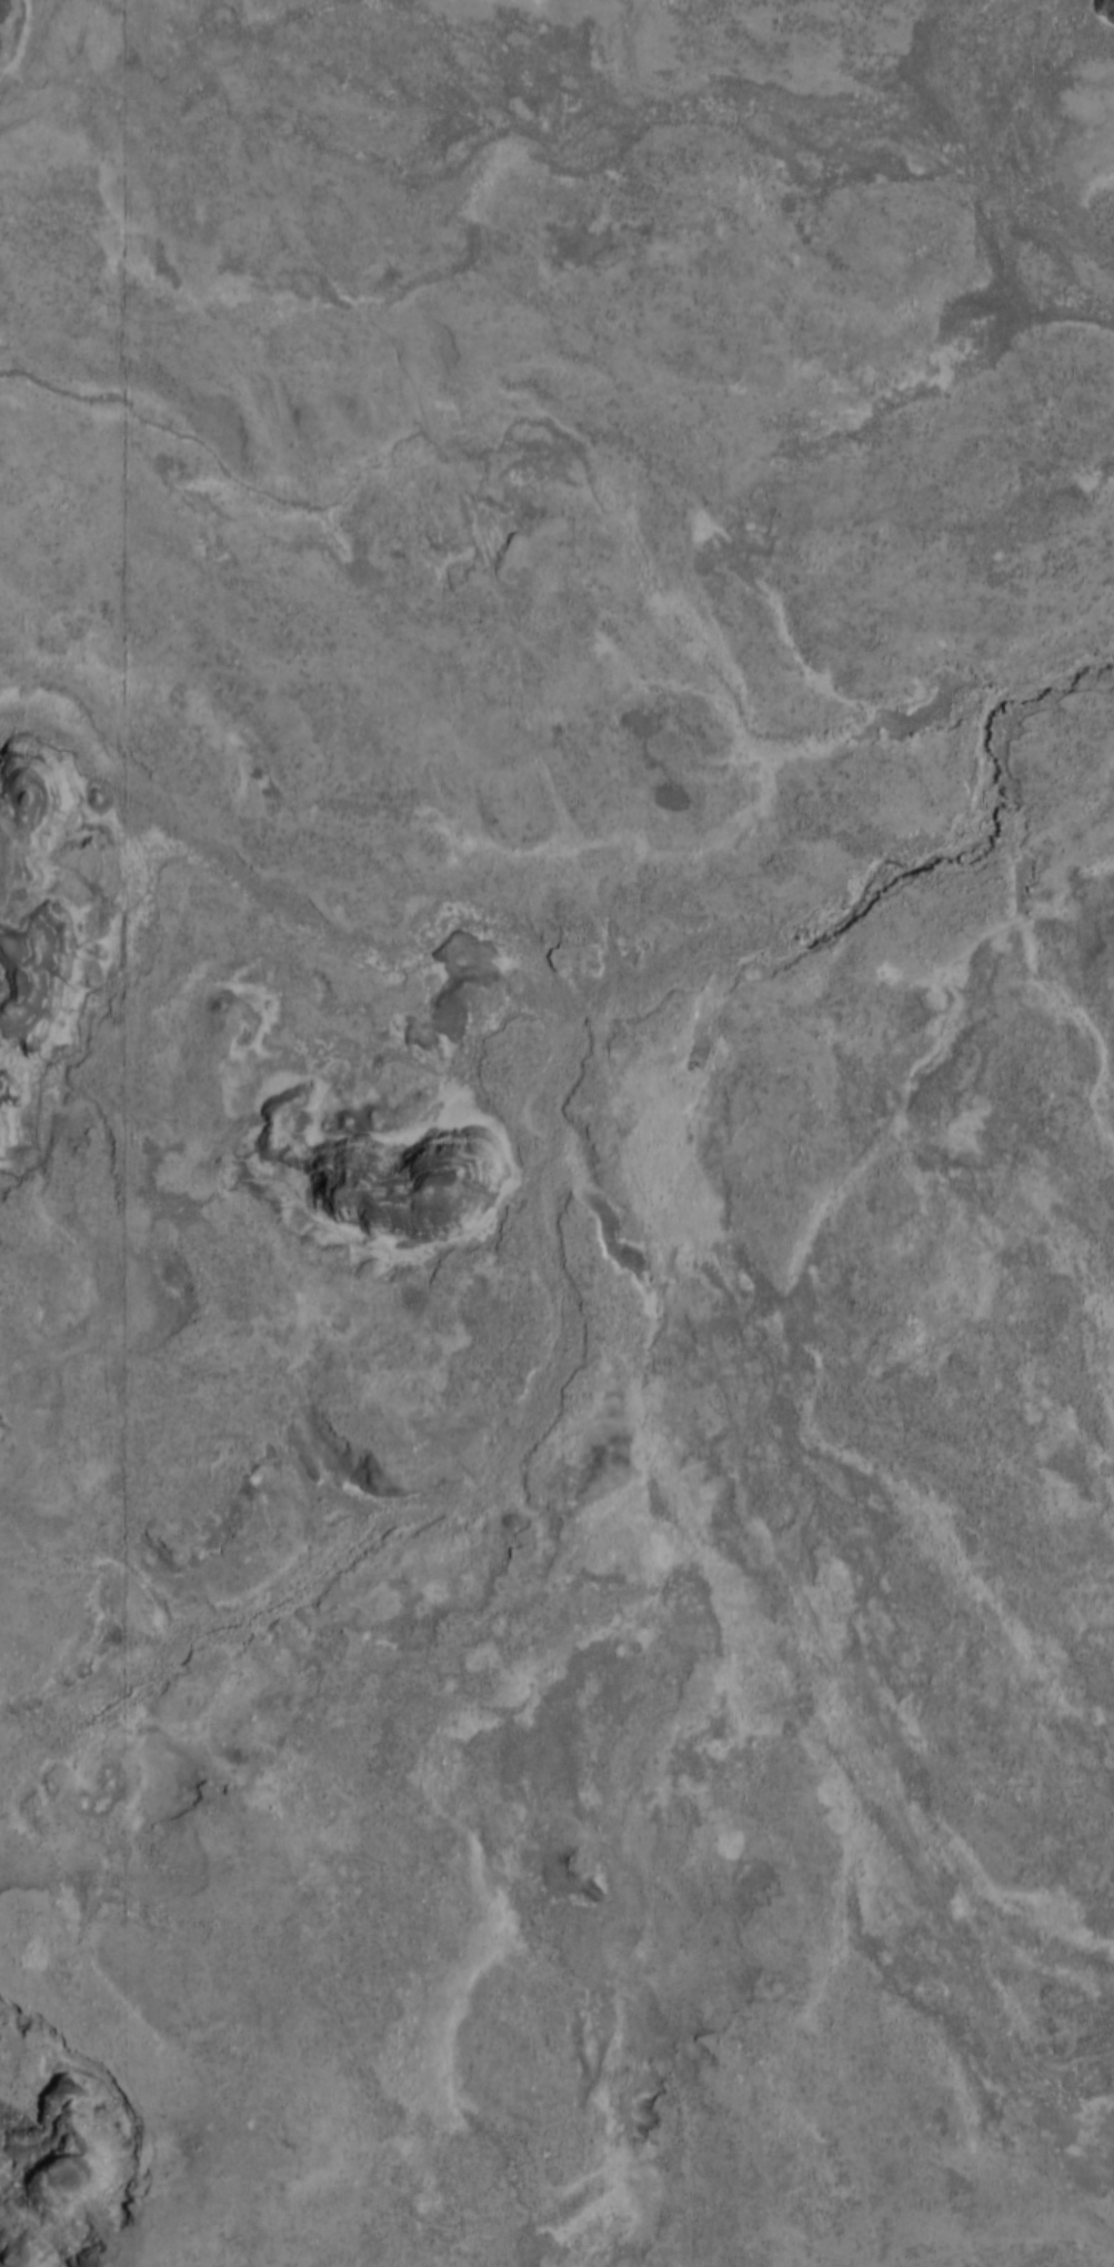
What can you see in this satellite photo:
road: (49, 72)
road: (699, 1086)
road: (1013, 2241)

